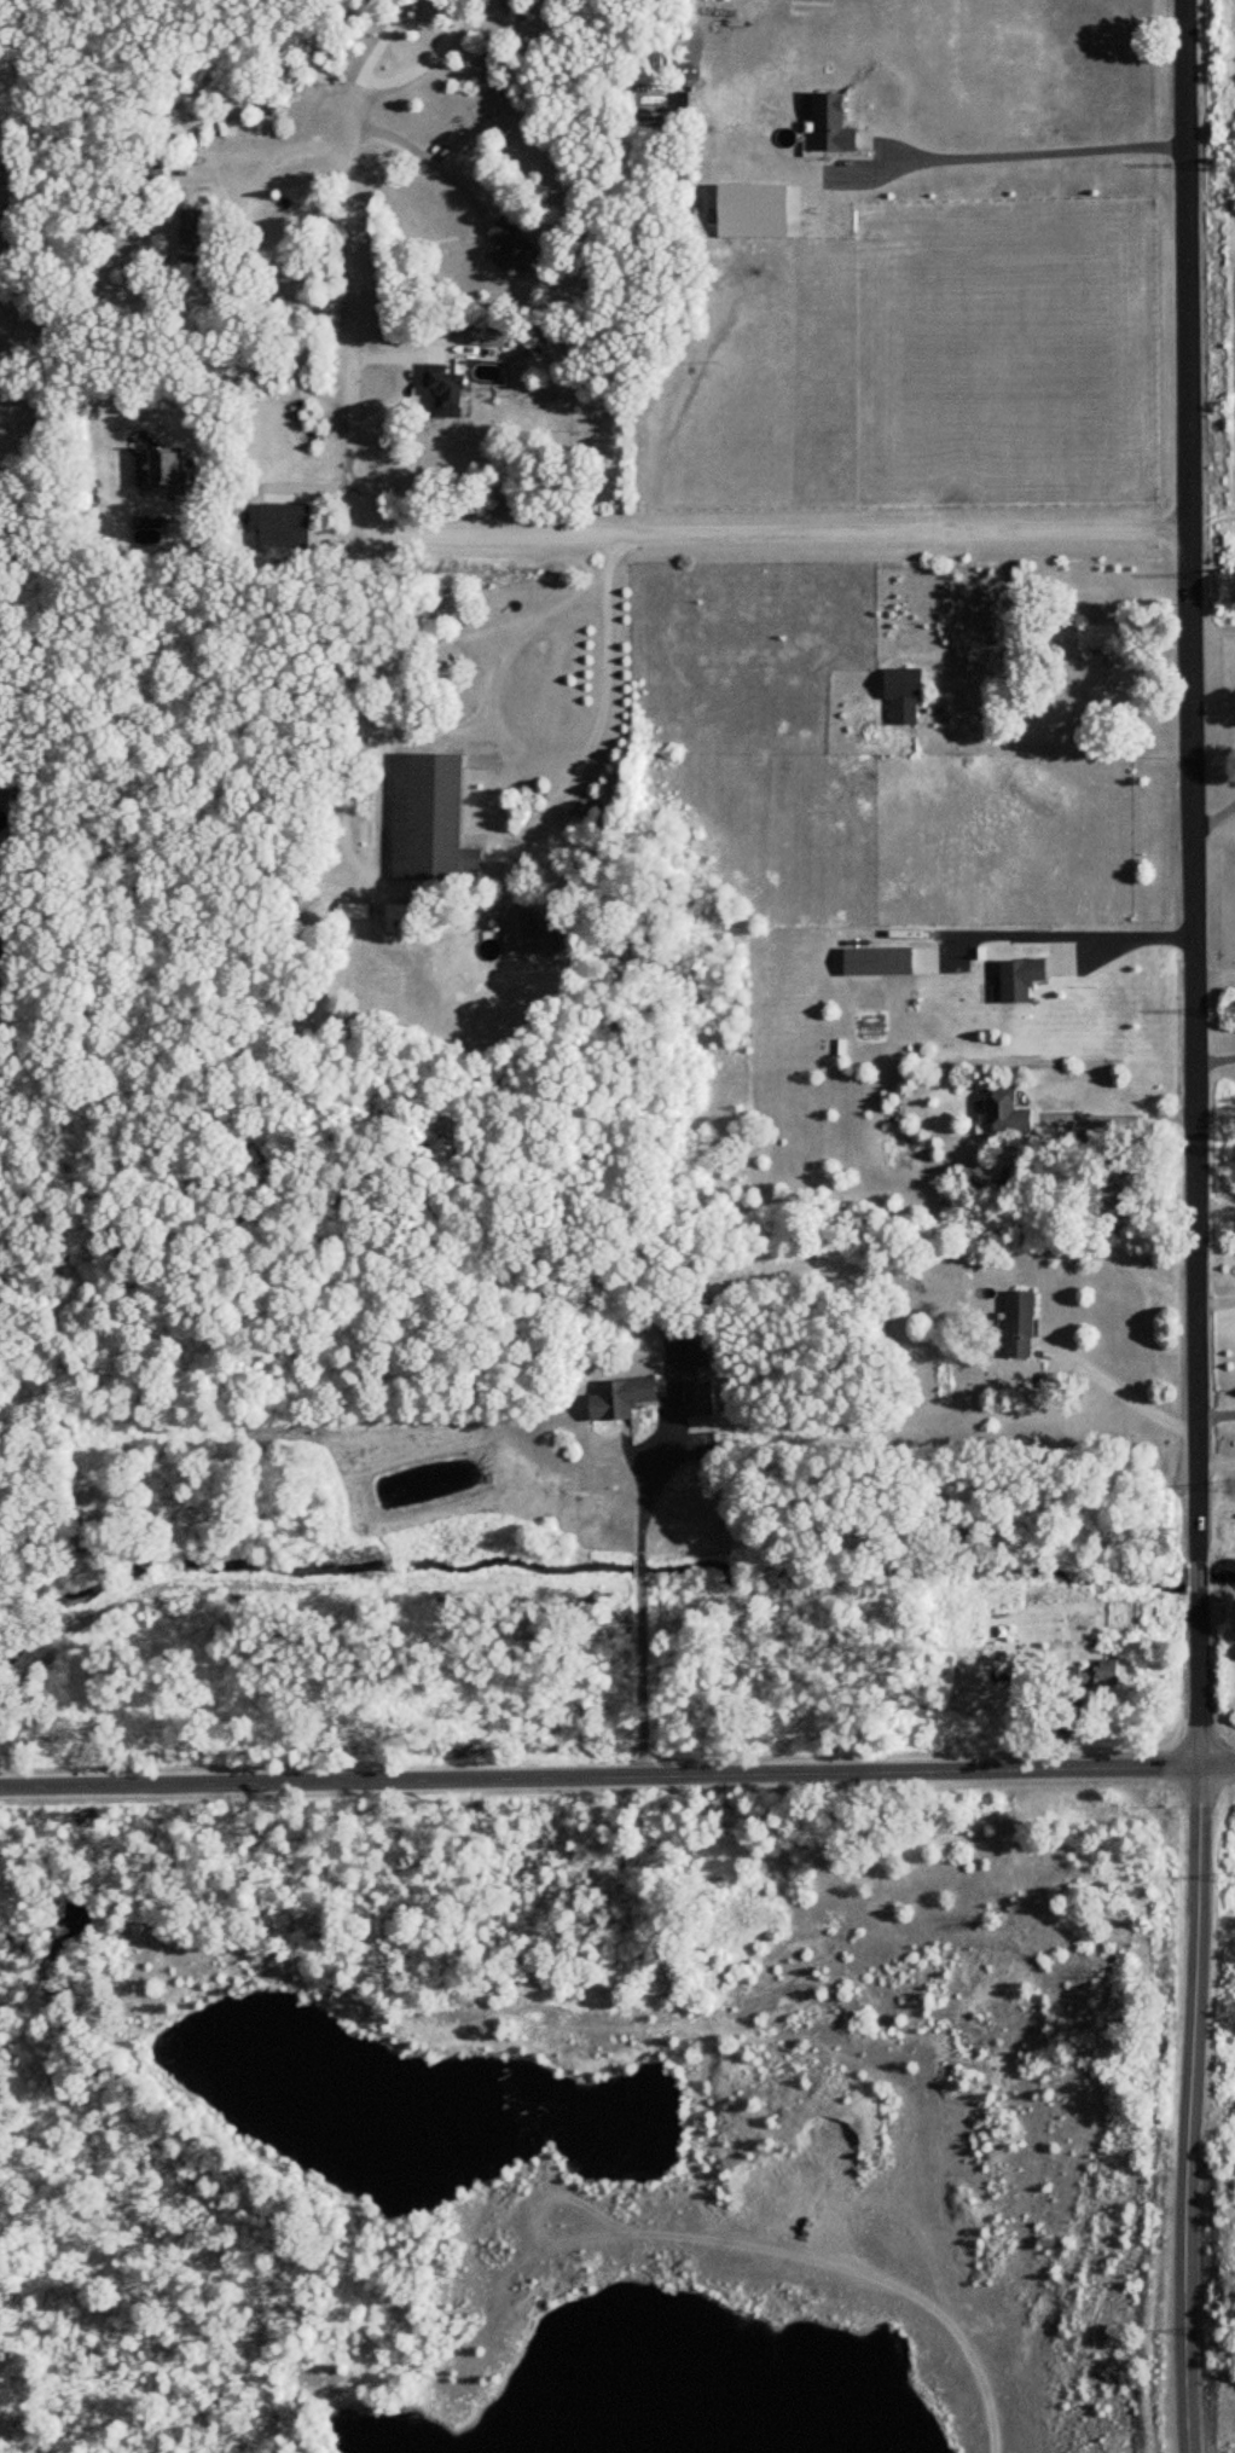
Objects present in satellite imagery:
road: (378, 40)
road: (425, 60)
road: (353, 106)
building: (828, 122)
road: (234, 149)
road: (1034, 152)
road: (425, 157)
power tower: (1222, 164)
building: (152, 168)
building: (196, 245)
building: (509, 245)
building: (445, 390)
building: (168, 471)
road: (278, 483)
building: (285, 526)
road: (584, 529)
power tower: (1225, 575)
building: (1097, 638)
building: (903, 695)
road: (556, 749)
road: (1191, 778)
building: (427, 817)
building: (353, 911)
building: (400, 912)
building: (532, 932)
road: (1126, 941)
road: (1213, 974)
building: (1020, 979)
power tower: (1229, 1013)
road: (1214, 1050)
building: (1005, 1113)
road: (1123, 1118)
road: (1214, 1299)
building: (1020, 1324)
road: (1119, 1387)
building: (620, 1398)
building: (698, 1399)
road: (1214, 1409)
road: (1216, 1457)
building: (963, 1520)
road: (1198, 1567)
road: (642, 1588)
building: (1091, 1675)
road: (617, 1776)
road: (1194, 2016)

